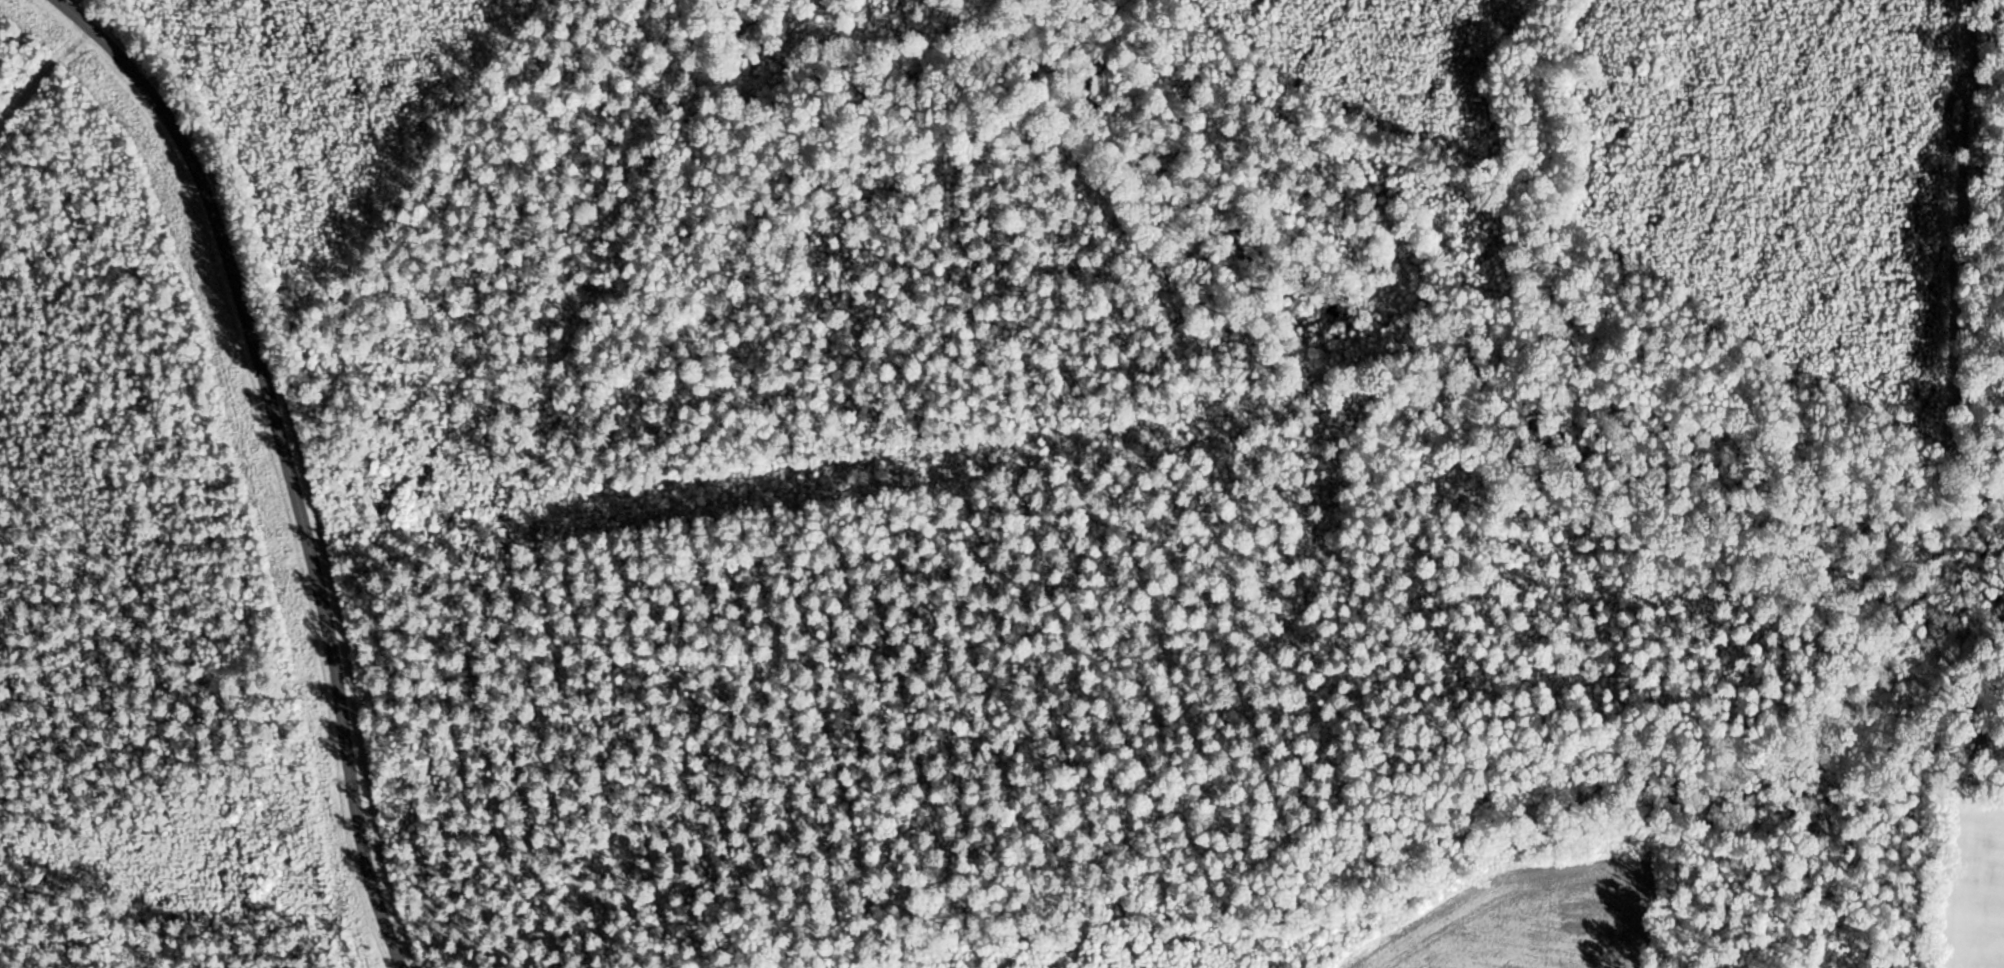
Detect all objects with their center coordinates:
road: (75, 14)
road: (42, 73)
park: (988, 479)
road: (292, 480)

